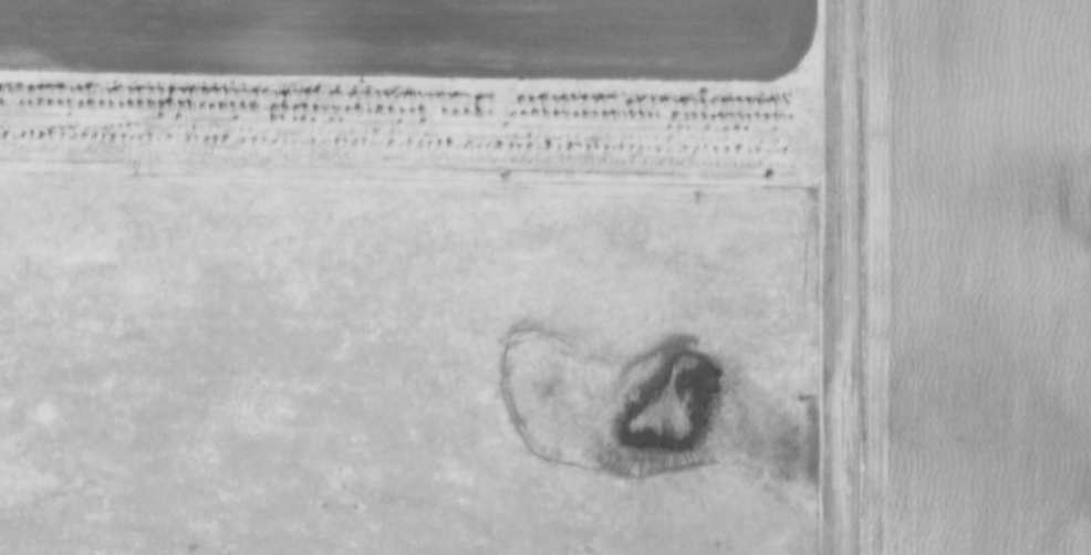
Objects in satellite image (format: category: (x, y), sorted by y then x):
road: (844, 276)

